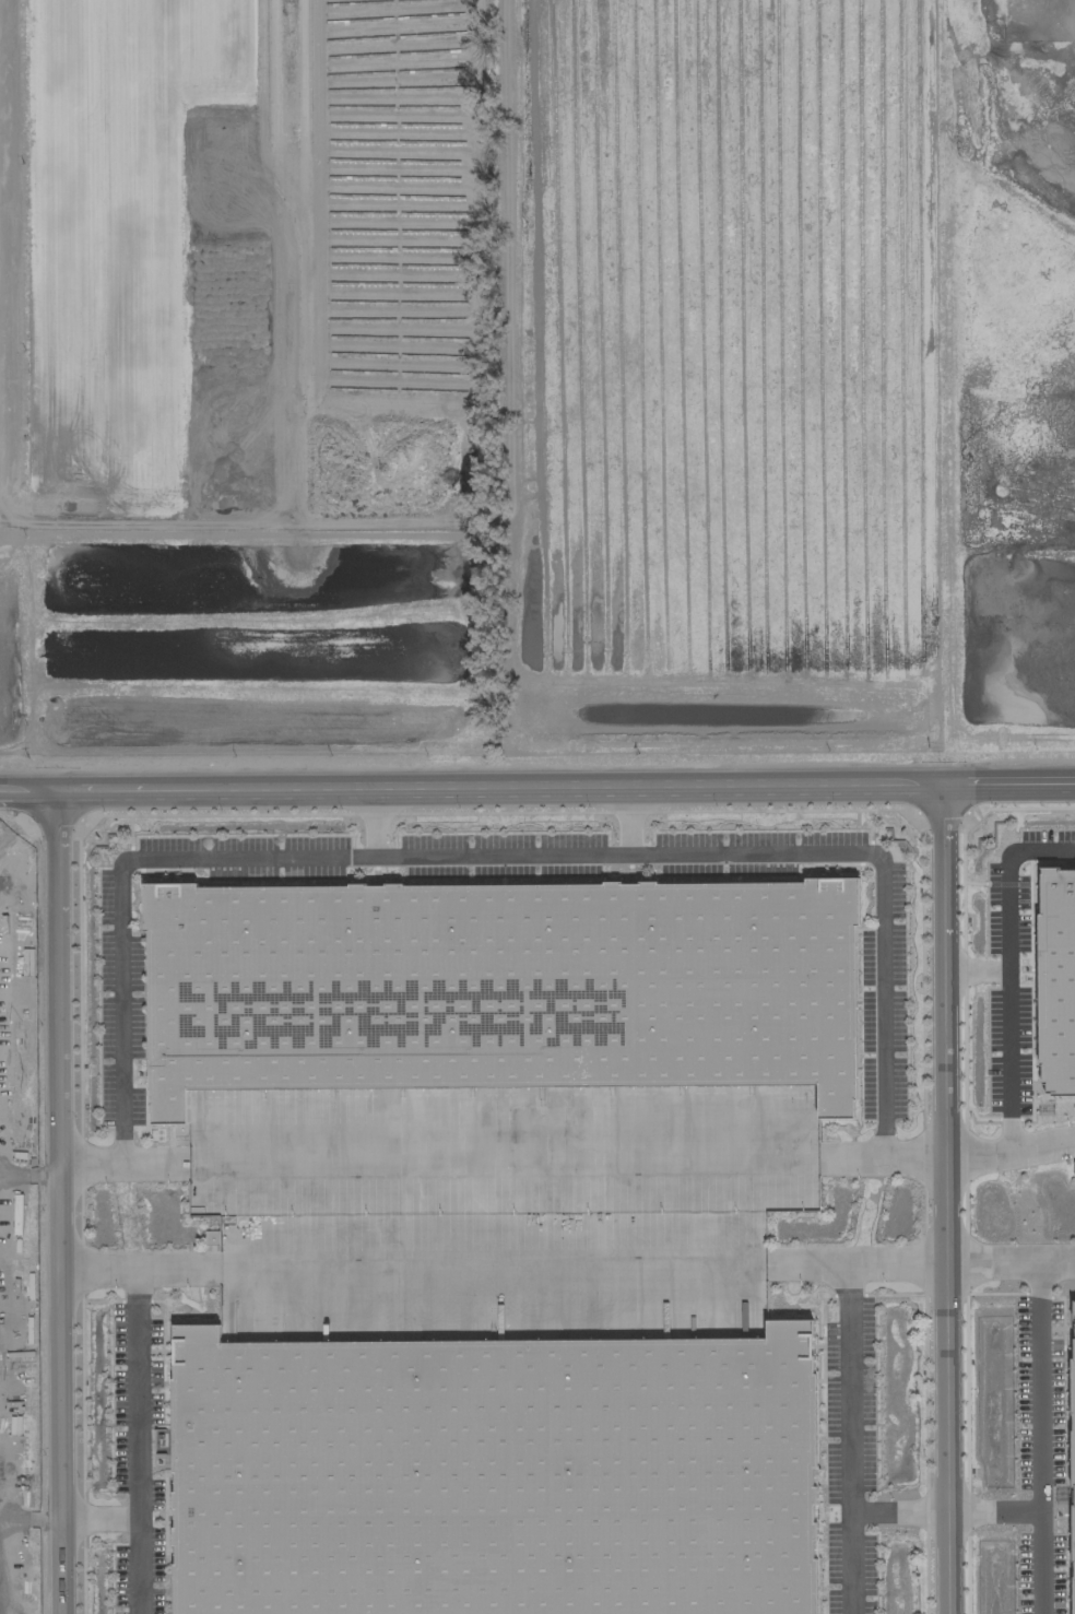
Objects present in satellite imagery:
road: (536, 780)
road: (629, 817)
road: (806, 853)
road: (125, 883)
road: (976, 962)
building: (500, 987)
road: (1011, 991)
road: (942, 1022)
building: (180, 1130)
road: (1038, 1138)
road: (503, 1158)
road: (57, 1200)
road: (1059, 1251)
road: (500, 1267)
road: (1042, 1383)
road: (849, 1439)
road: (945, 1440)
road: (140, 1442)
building: (494, 1475)
road: (994, 1504)
road: (898, 1511)
road: (101, 1520)

